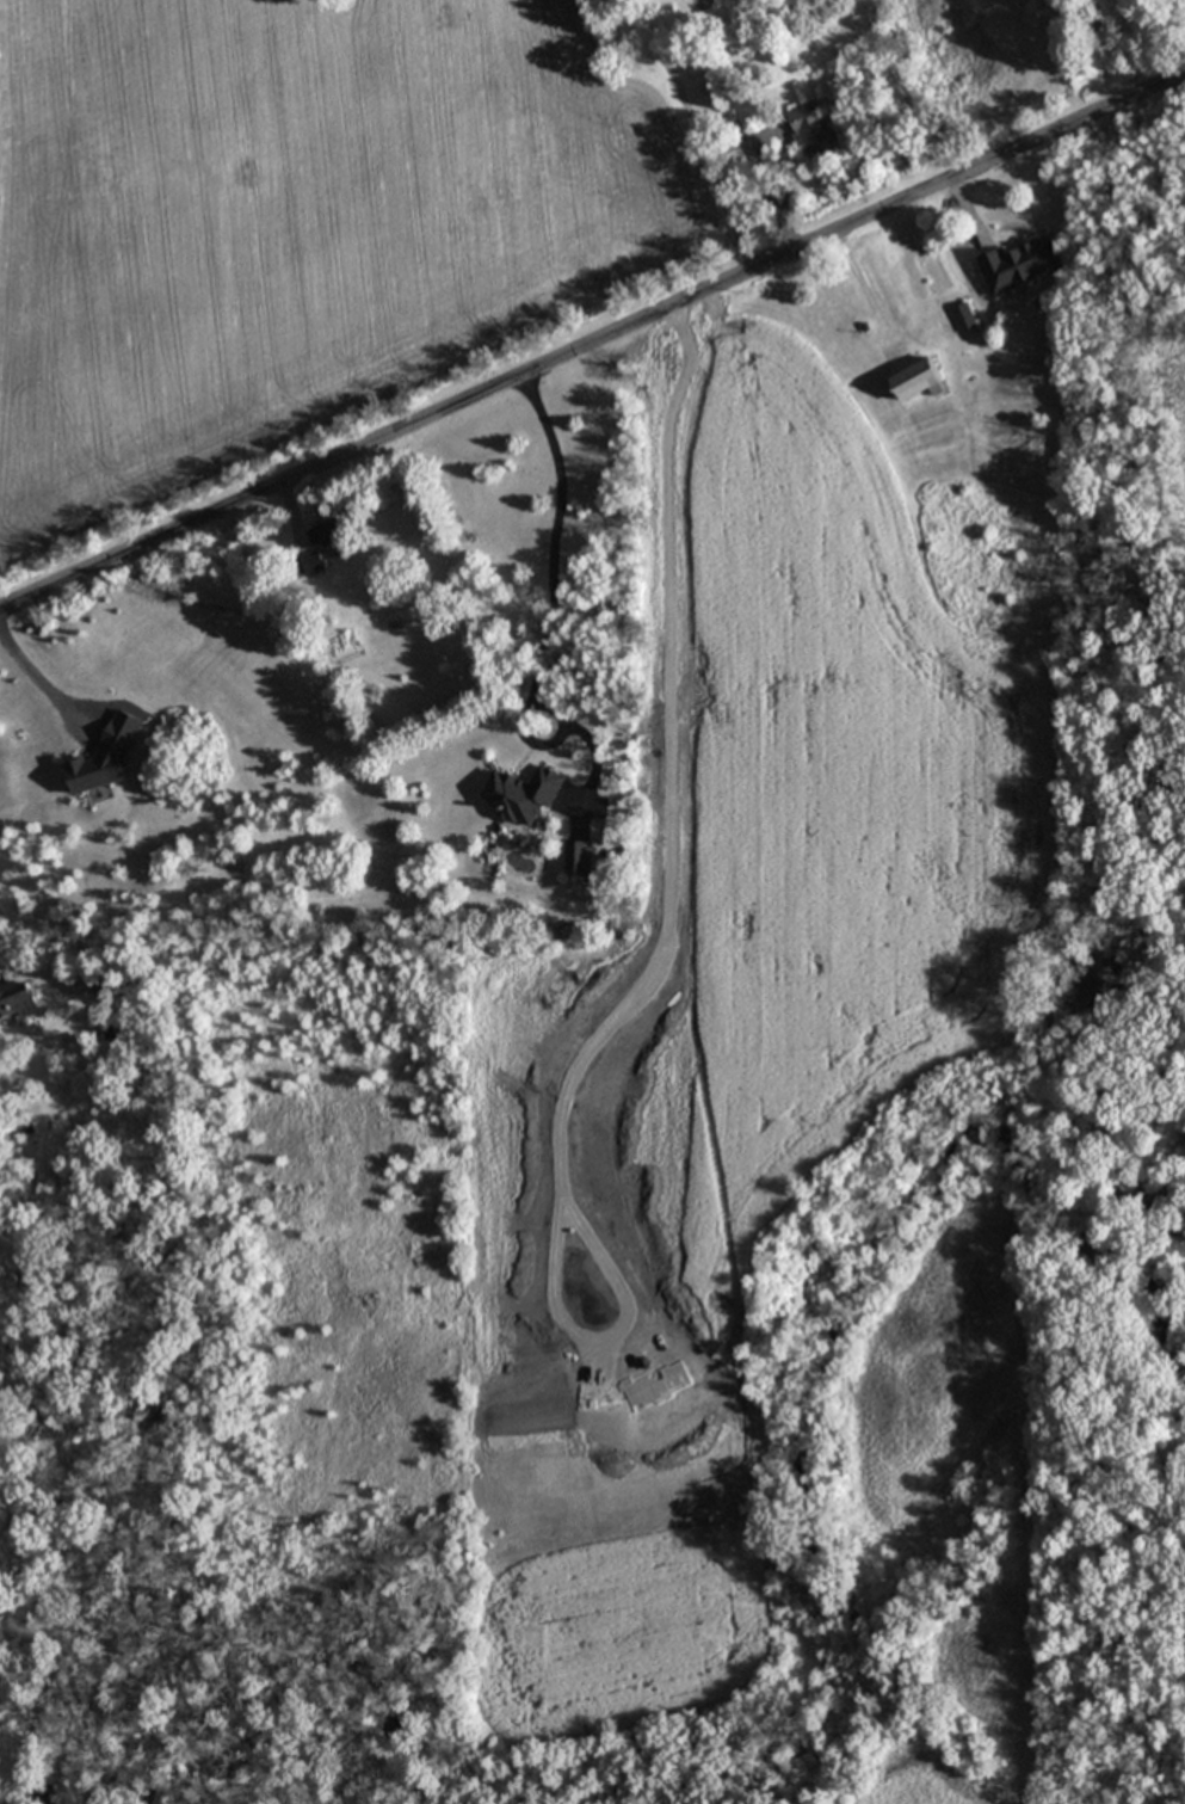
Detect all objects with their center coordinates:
building: (814, 130)
building: (1018, 264)
building: (964, 315)
road: (592, 356)
building: (919, 378)
building: (322, 543)
road: (548, 611)
building: (520, 794)
building: (578, 856)
building: (103, 987)
building: (17, 999)

